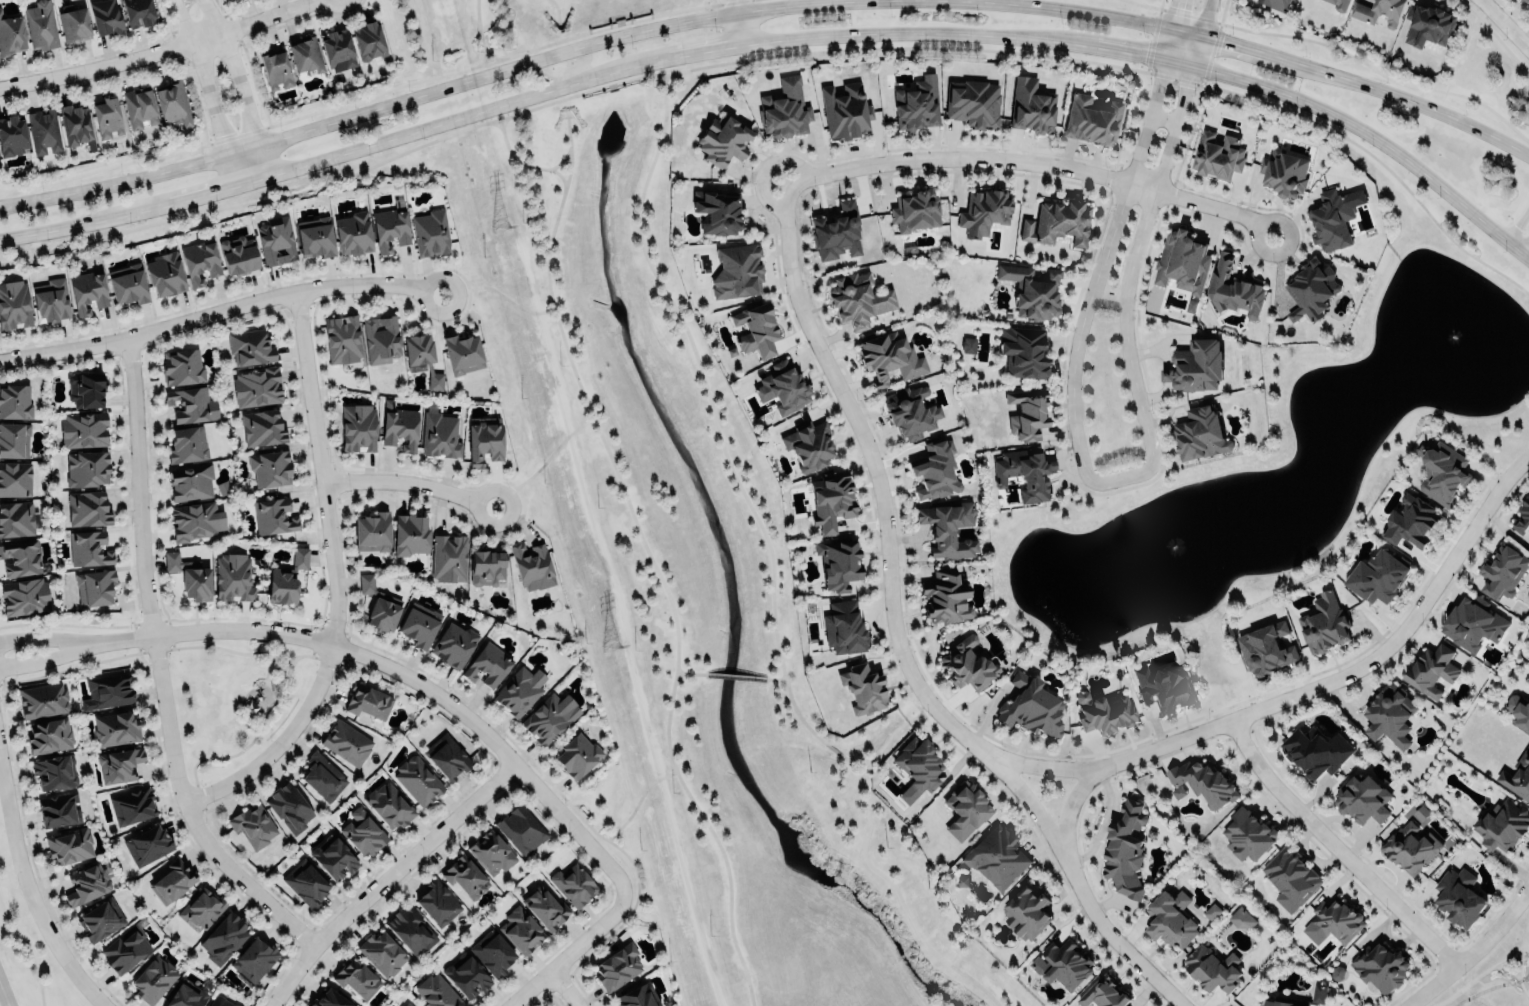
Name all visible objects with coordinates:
building: (1526, 0)
road: (717, 2)
building: (1276, 4)
building: (1340, 5)
road: (557, 9)
building: (1379, 11)
building: (138, 12)
road: (1155, 13)
building: (106, 16)
road: (1204, 19)
road: (1216, 20)
road: (741, 22)
building: (73, 23)
building: (1428, 23)
building: (41, 25)
road: (1502, 27)
road: (1168, 29)
building: (11, 33)
road: (896, 34)
road: (1184, 34)
road: (482, 35)
building: (368, 38)
road: (576, 46)
building: (337, 49)
road: (1118, 50)
road: (1335, 50)
road: (1248, 51)
road: (685, 52)
road: (1194, 52)
road: (155, 53)
road: (786, 54)
building: (305, 55)
road: (494, 56)
building: (275, 69)
road: (653, 77)
road: (236, 84)
road: (206, 90)
road: (1153, 94)
road: (373, 95)
building: (172, 101)
road: (1180, 102)
building: (917, 103)
building: (973, 103)
road: (1416, 104)
building: (138, 106)
building: (1031, 106)
building: (784, 109)
building: (845, 110)
building: (106, 116)
building: (1091, 119)
road: (445, 120)
building: (76, 125)
building: (44, 132)
building: (11, 135)
building: (723, 139)
road: (1371, 140)
building: (1218, 155)
road: (1028, 162)
road: (525, 164)
building: (1285, 173)
road: (559, 175)
road: (200, 192)
building: (717, 210)
building: (915, 210)
building: (985, 211)
building: (1331, 219)
building: (1057, 221)
road: (68, 224)
road: (1516, 224)
building: (390, 227)
power tower: (497, 229)
building: (836, 231)
building: (430, 232)
building: (353, 233)
building: (315, 236)
building: (275, 241)
road: (1519, 243)
building: (238, 255)
building: (199, 261)
building: (1182, 263)
building: (737, 270)
building: (165, 274)
building: (127, 283)
building: (1233, 288)
building: (1311, 289)
building: (86, 290)
road: (497, 290)
building: (1031, 290)
building: (858, 298)
building: (51, 300)
building: (14, 304)
road: (219, 311)
road: (1123, 313)
road: (1080, 319)
fountain: (1445, 328)
building: (757, 329)
building: (342, 338)
building: (381, 338)
building: (968, 345)
building: (250, 347)
building: (418, 348)
building: (1023, 351)
building: (462, 353)
building: (889, 357)
building: (1195, 365)
building: (182, 366)
road: (699, 378)
building: (256, 386)
building: (782, 387)
building: (86, 389)
building: (15, 401)
building: (191, 404)
building: (910, 411)
building: (1027, 412)
building: (261, 427)
building: (358, 428)
building: (400, 428)
building: (83, 429)
building: (439, 433)
building: (1200, 433)
building: (14, 440)
building: (484, 442)
building: (187, 444)
building: (808, 445)
road: (543, 464)
building: (270, 467)
building: (88, 468)
building: (934, 469)
building: (1024, 472)
building: (1441, 472)
building: (15, 478)
road: (409, 481)
building: (190, 482)
building: (830, 499)
building: (88, 508)
building: (273, 516)
park: (666, 517)
building: (16, 518)
building: (1522, 518)
building: (196, 520)
building: (1410, 521)
building: (948, 529)
building: (372, 532)
building: (410, 534)
fountain: (1170, 545)
building: (88, 548)
fountain: (1169, 548)
building: (448, 557)
building: (20, 558)
road: (649, 562)
building: (838, 563)
building: (532, 565)
building: (487, 567)
building: (1503, 571)
building: (190, 576)
building: (1377, 576)
building: (233, 578)
road: (335, 578)
building: (94, 587)
building: (281, 587)
building: (24, 595)
building: (945, 597)
building: (378, 605)
building: (1324, 624)
building: (1471, 624)
building: (418, 627)
building: (843, 627)
road: (897, 634)
road: (45, 638)
building: (454, 644)
power tower: (608, 647)
building: (1265, 648)
road: (46, 657)
building: (487, 664)
building: (967, 664)
road: (156, 669)
building: (1432, 670)
road: (687, 672)
road: (400, 673)
road: (732, 675)
road: (771, 678)
building: (1528, 682)
building: (1163, 687)
building: (863, 688)
building: (108, 689)
building: (519, 691)
road: (1304, 692)
park: (234, 697)
building: (42, 700)
building: (368, 701)
building: (1030, 706)
road: (918, 711)
building: (1104, 712)
building: (1518, 712)
building: (1388, 716)
building: (549, 717)
road: (797, 718)
building: (115, 728)
building: (49, 735)
building: (346, 742)
building: (1315, 751)
building: (576, 755)
building: (446, 756)
road: (844, 758)
building: (119, 764)
building: (917, 768)
building: (54, 772)
building: (323, 776)
building: (1517, 778)
building: (418, 780)
building: (1203, 783)
building: (1362, 799)
building: (132, 805)
building: (390, 805)
building: (289, 807)
building: (58, 809)
building: (963, 809)
road: (633, 810)
road: (1073, 811)
building: (253, 825)
building: (1502, 826)
building: (521, 829)
building: (363, 833)
building: (1247, 834)
building: (148, 844)
building: (69, 845)
road: (1337, 848)
building: (1410, 848)
building: (1125, 850)
building: (491, 852)
building: (996, 857)
building: (334, 858)
road: (874, 872)
building: (465, 877)
building: (1290, 877)
road: (385, 878)
building: (172, 881)
building: (305, 882)
building: (87, 884)
building: (573, 884)
building: (1459, 897)
road: (32, 901)
building: (438, 903)
building: (201, 907)
building: (545, 908)
building: (1212, 911)
building: (1026, 913)
building: (100, 919)
building: (1170, 919)
building: (1241, 919)
building: (1328, 920)
building: (410, 930)
building: (520, 930)
building: (224, 937)
road: (1521, 943)
building: (125, 947)
road: (1475, 950)
building: (382, 953)
building: (492, 953)
road: (567, 953)
building: (253, 960)
building: (1065, 965)
building: (617, 967)
building: (1380, 967)
building: (1212, 969)
road: (1504, 971)
building: (466, 975)
road: (1475, 976)
building: (356, 977)
building: (153, 979)
road: (562, 987)
building: (436, 992)
building: (1101, 993)
building: (1318, 993)
road: (1521, 993)
building: (186, 995)
park: (1503, 995)
road: (3, 996)
building: (638, 996)
building: (330, 999)
building: (220, 1001)
building: (1276, 1003)
building: (407, 1004)
building: (402, 1005)

